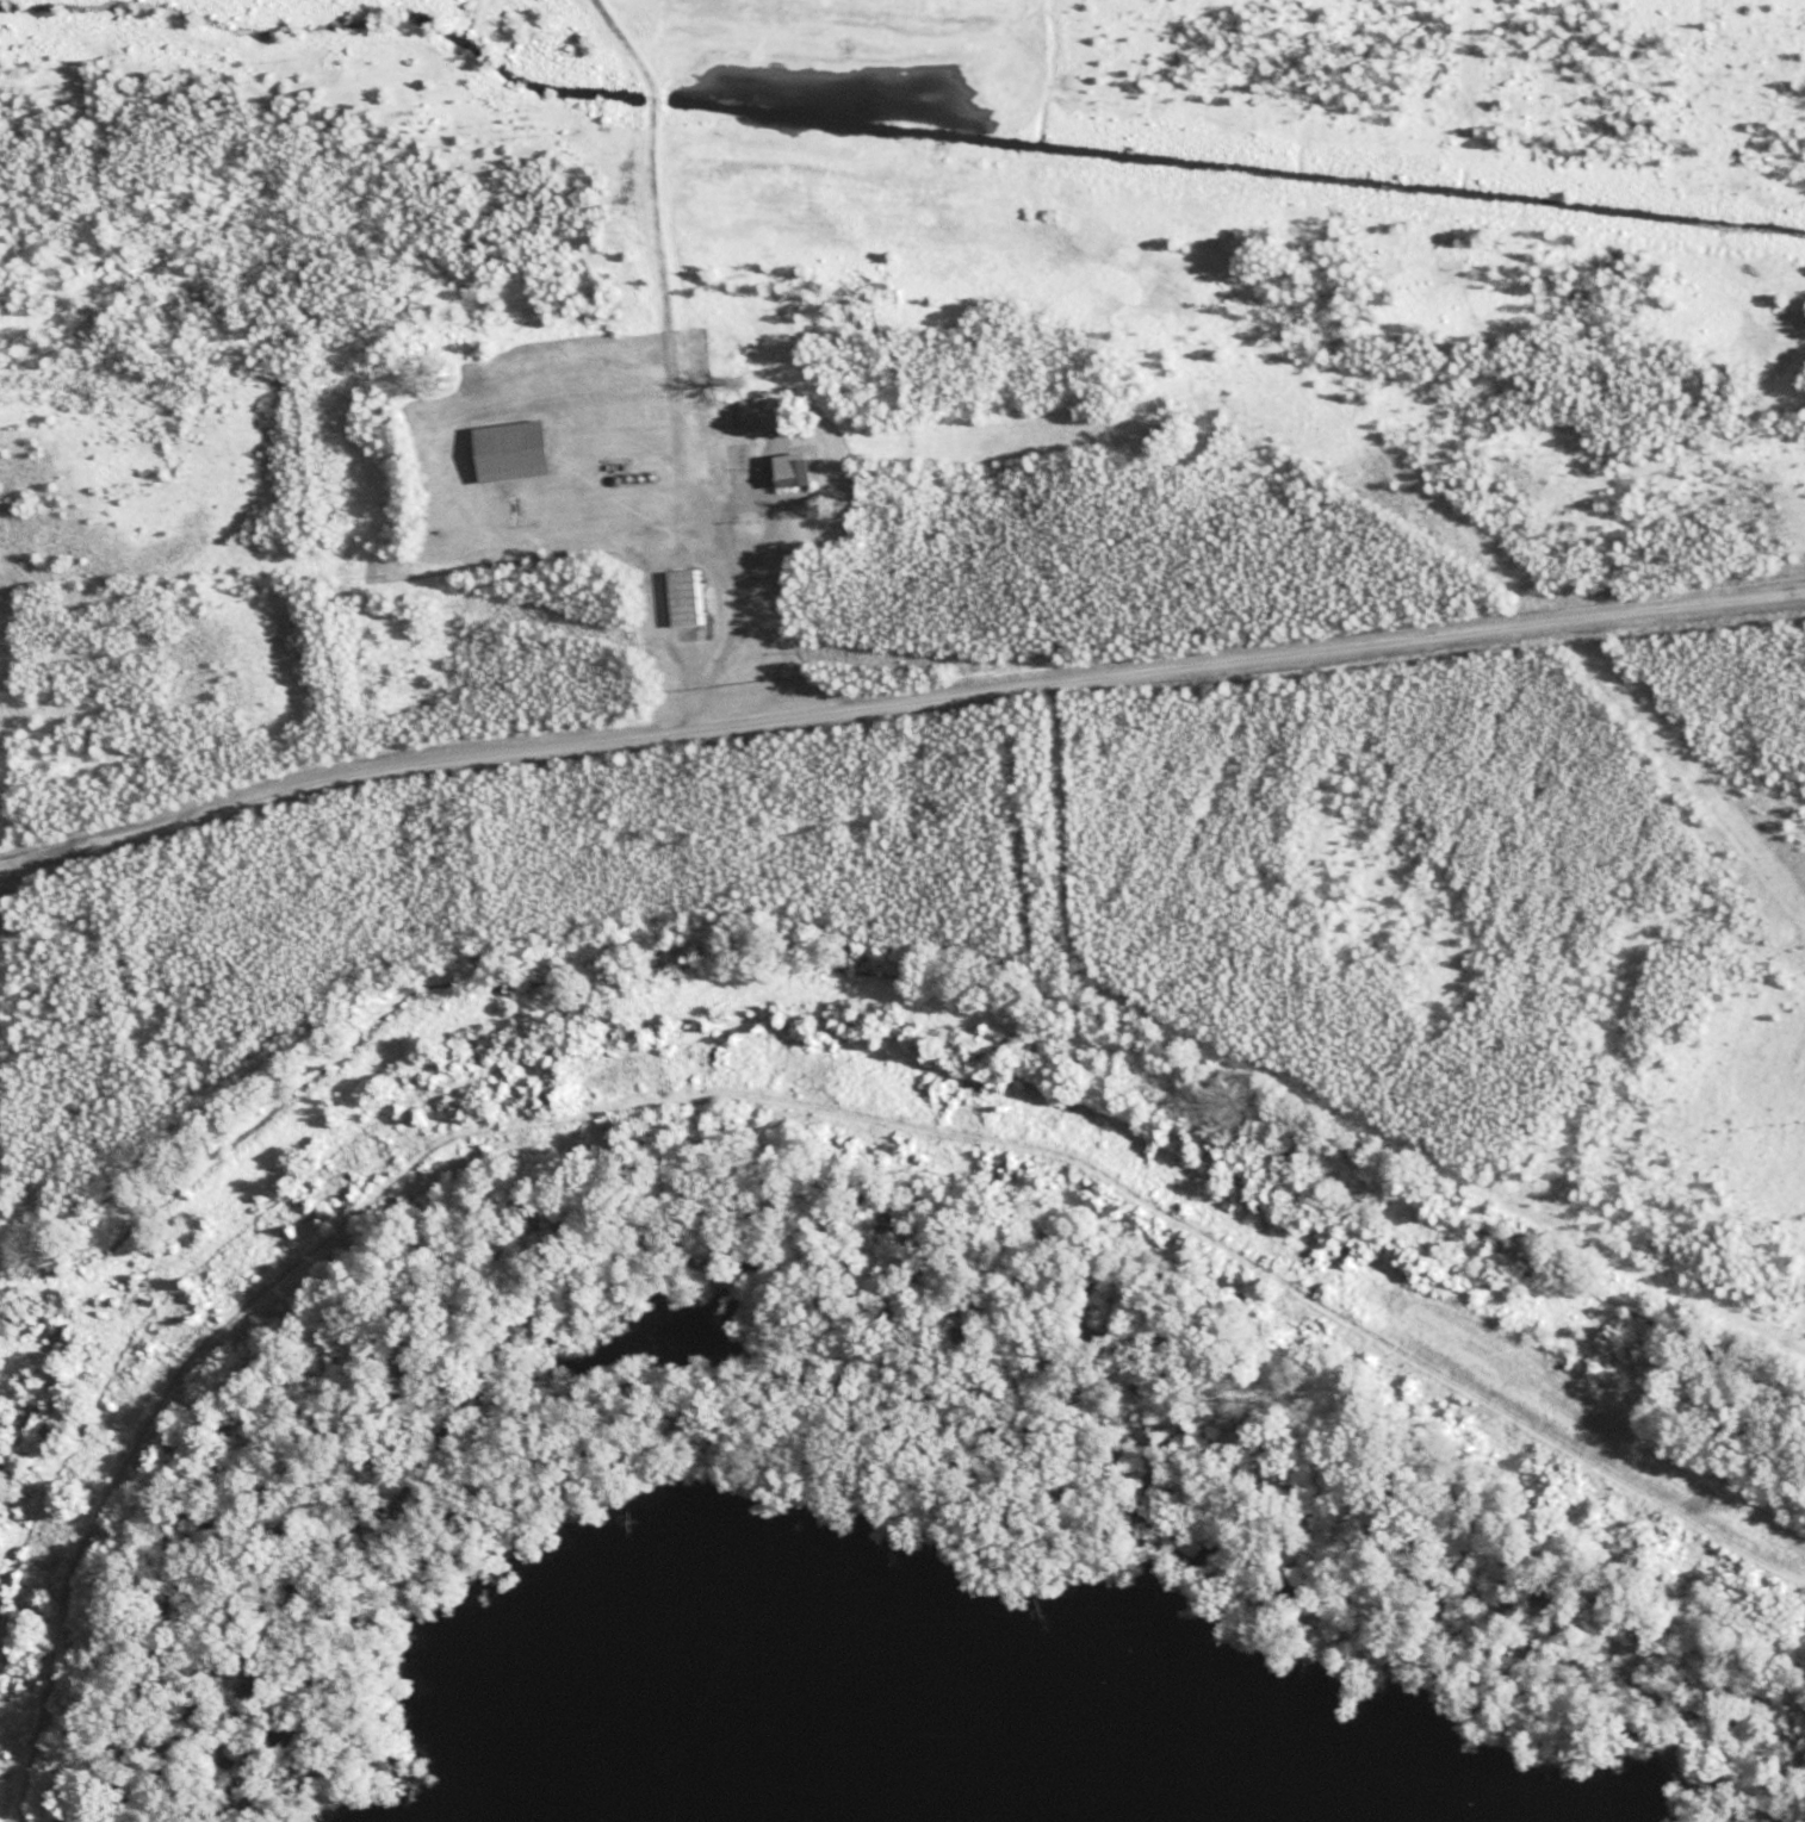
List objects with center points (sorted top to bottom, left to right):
road: (671, 372)
building: (521, 452)
building: (805, 470)
building: (686, 599)
road: (897, 702)
road: (6, 871)

